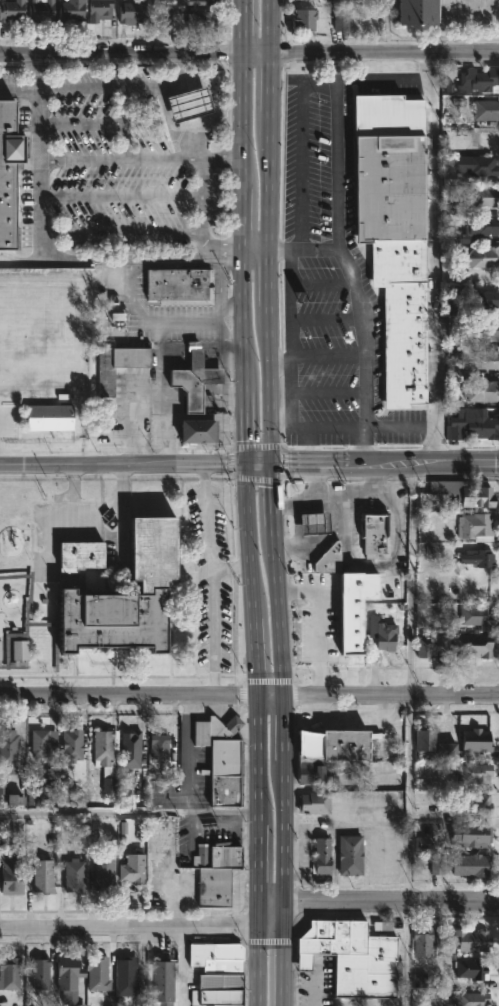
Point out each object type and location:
building: (306, 1)
building: (200, 2)
building: (72, 9)
building: (98, 9)
building: (12, 10)
building: (133, 11)
building: (41, 13)
building: (422, 13)
building: (305, 19)
building: (204, 20)
building: (342, 23)
road: (149, 29)
road: (389, 54)
road: (263, 57)
road: (123, 58)
road: (38, 75)
road: (392, 77)
building: (478, 80)
road: (120, 88)
road: (19, 91)
building: (185, 104)
gas station: (185, 104)
building: (485, 110)
road: (97, 124)
road: (300, 146)
road: (121, 159)
road: (39, 162)
building: (477, 165)
building: (7, 168)
building: (484, 196)
road: (121, 197)
road: (202, 204)
building: (482, 225)
building: (393, 232)
road: (121, 233)
building: (456, 236)
road: (261, 247)
road: (282, 248)
building: (478, 256)
road: (124, 258)
road: (31, 259)
road: (342, 259)
road: (177, 265)
road: (432, 269)
building: (178, 286)
building: (483, 299)
road: (233, 306)
road: (142, 318)
building: (489, 329)
road: (246, 348)
road: (276, 348)
road: (287, 349)
building: (481, 362)
building: (120, 365)
road: (161, 365)
building: (192, 380)
building: (482, 390)
building: (50, 417)
road: (171, 417)
road: (282, 418)
building: (475, 424)
road: (397, 426)
building: (196, 432)
road: (307, 444)
road: (261, 461)
traffic signals: (275, 461)
traffic signals: (248, 462)
road: (387, 462)
road: (124, 463)
road: (346, 490)
road: (71, 491)
building: (480, 497)
road: (298, 500)
building: (317, 524)
gas station: (317, 524)
building: (476, 527)
road: (297, 534)
building: (377, 536)
building: (480, 558)
building: (331, 559)
road: (230, 566)
road: (211, 578)
road: (410, 581)
building: (154, 587)
building: (351, 608)
building: (478, 617)
road: (318, 629)
building: (25, 633)
building: (384, 634)
building: (474, 646)
building: (427, 648)
road: (129, 695)
road: (274, 696)
road: (393, 699)
building: (426, 738)
building: (478, 740)
building: (333, 742)
building: (103, 744)
building: (43, 745)
building: (72, 745)
building: (160, 745)
building: (131, 748)
building: (9, 751)
building: (449, 751)
building: (225, 759)
building: (478, 772)
building: (312, 773)
building: (47, 791)
road: (181, 793)
building: (317, 802)
building: (475, 802)
road: (407, 803)
road: (92, 817)
building: (472, 834)
road: (260, 851)
road: (289, 851)
building: (352, 854)
building: (323, 856)
building: (474, 864)
building: (440, 867)
building: (133, 868)
building: (218, 872)
building: (105, 873)
building: (45, 874)
building: (75, 874)
building: (13, 875)
road: (393, 907)
road: (273, 913)
road: (129, 922)
building: (424, 939)
building: (472, 939)
building: (354, 956)
road: (405, 956)
road: (182, 963)
building: (474, 968)
building: (10, 972)
building: (98, 973)
building: (40, 974)
building: (218, 974)
building: (127, 975)
building: (69, 976)
building: (161, 982)
building: (472, 998)
building: (80, 1005)

